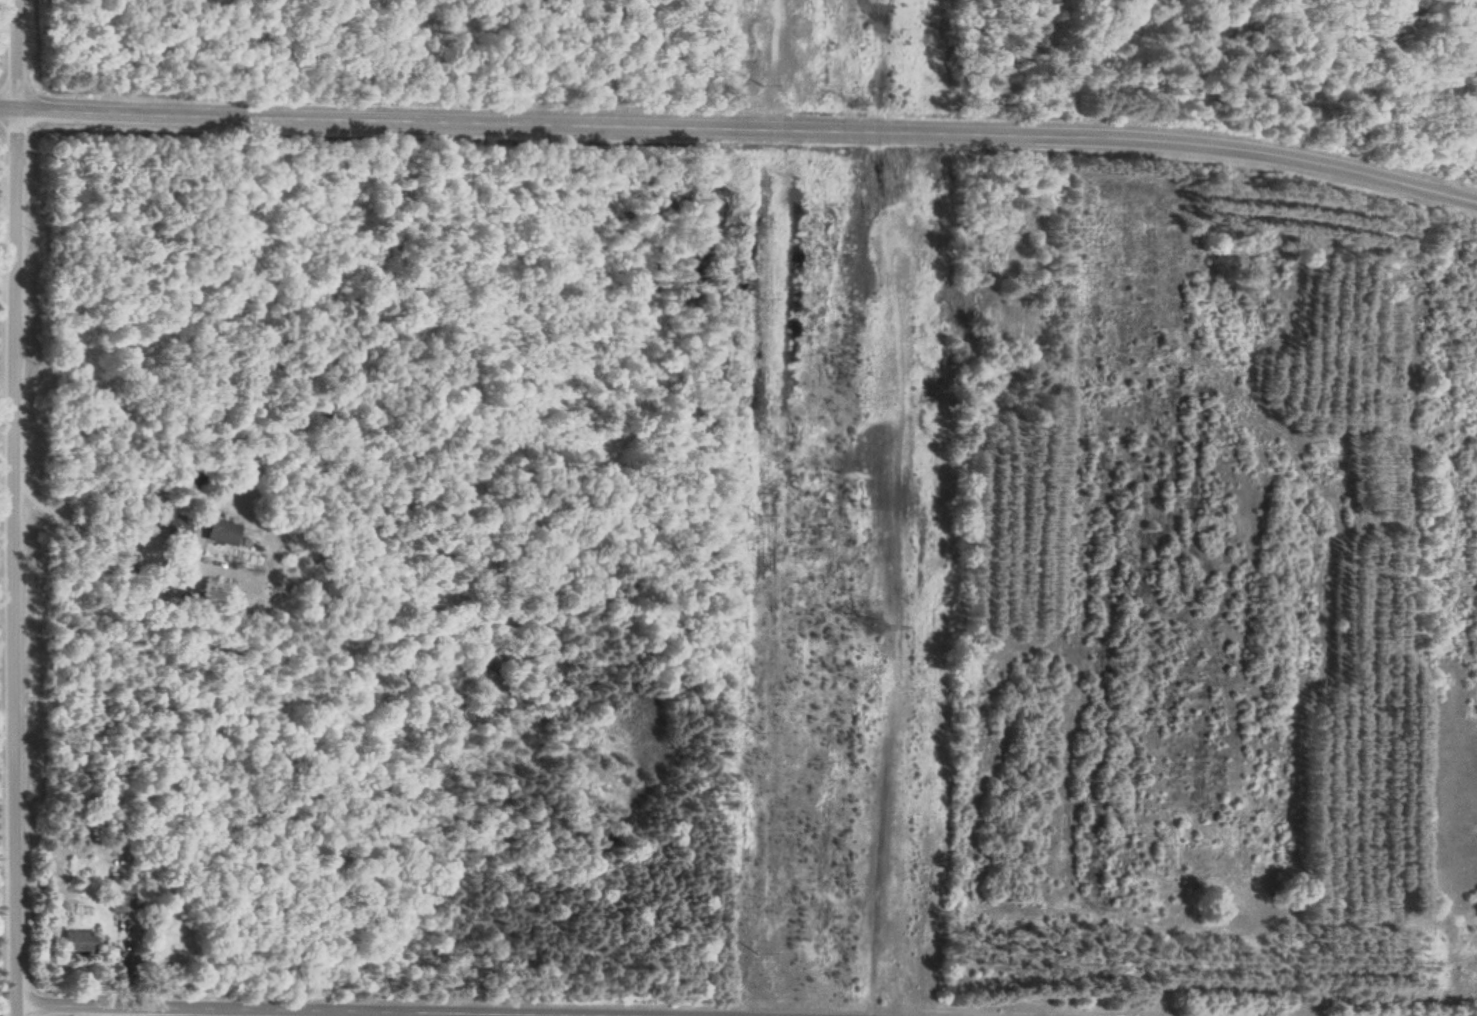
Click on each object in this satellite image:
road: (13, 54)
road: (741, 126)
building: (224, 532)
road: (117, 543)
road: (8, 563)
power tower: (868, 621)
building: (122, 903)
building: (80, 942)
road: (360, 1008)

